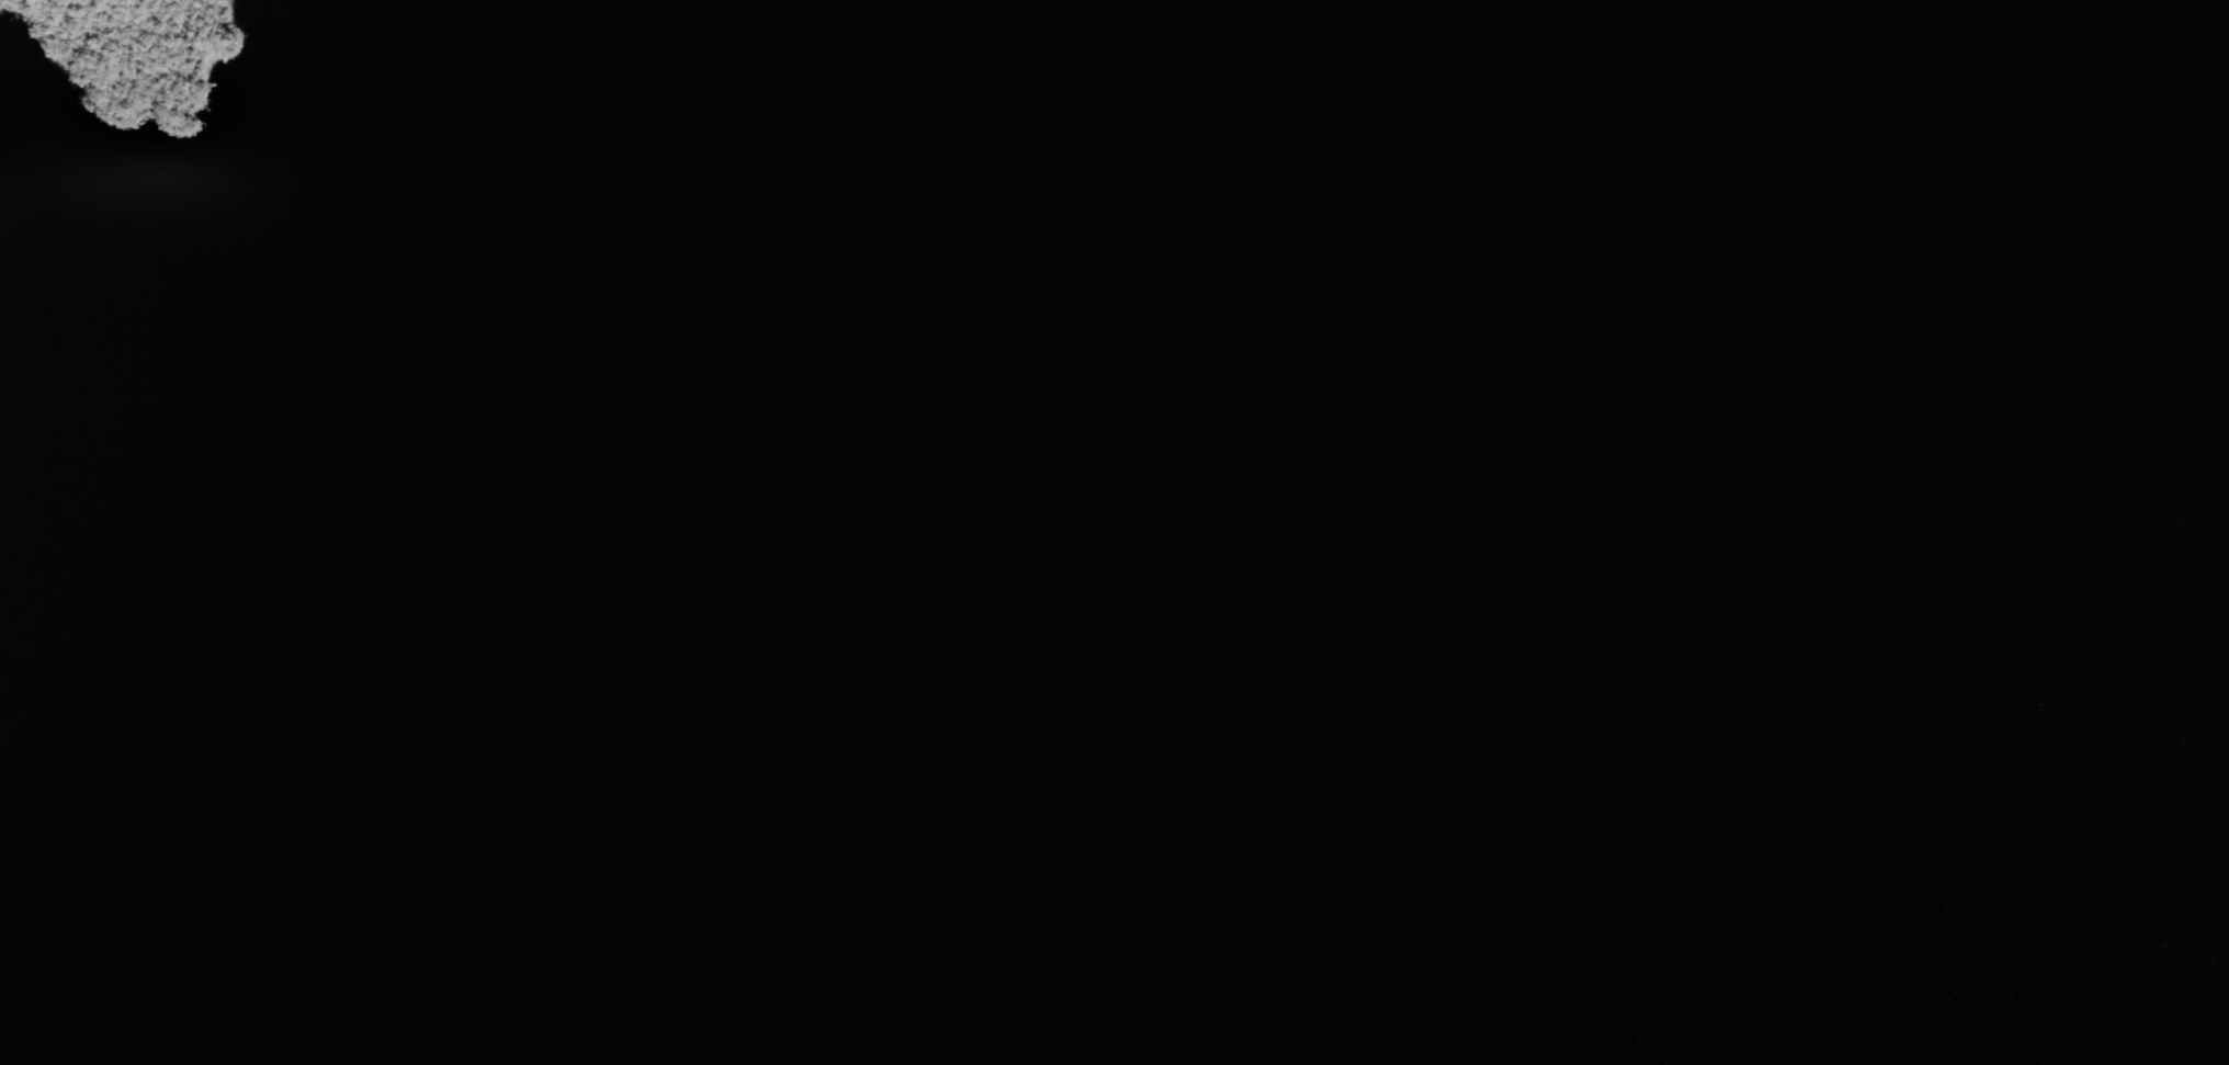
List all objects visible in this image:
park: (267, 192)

